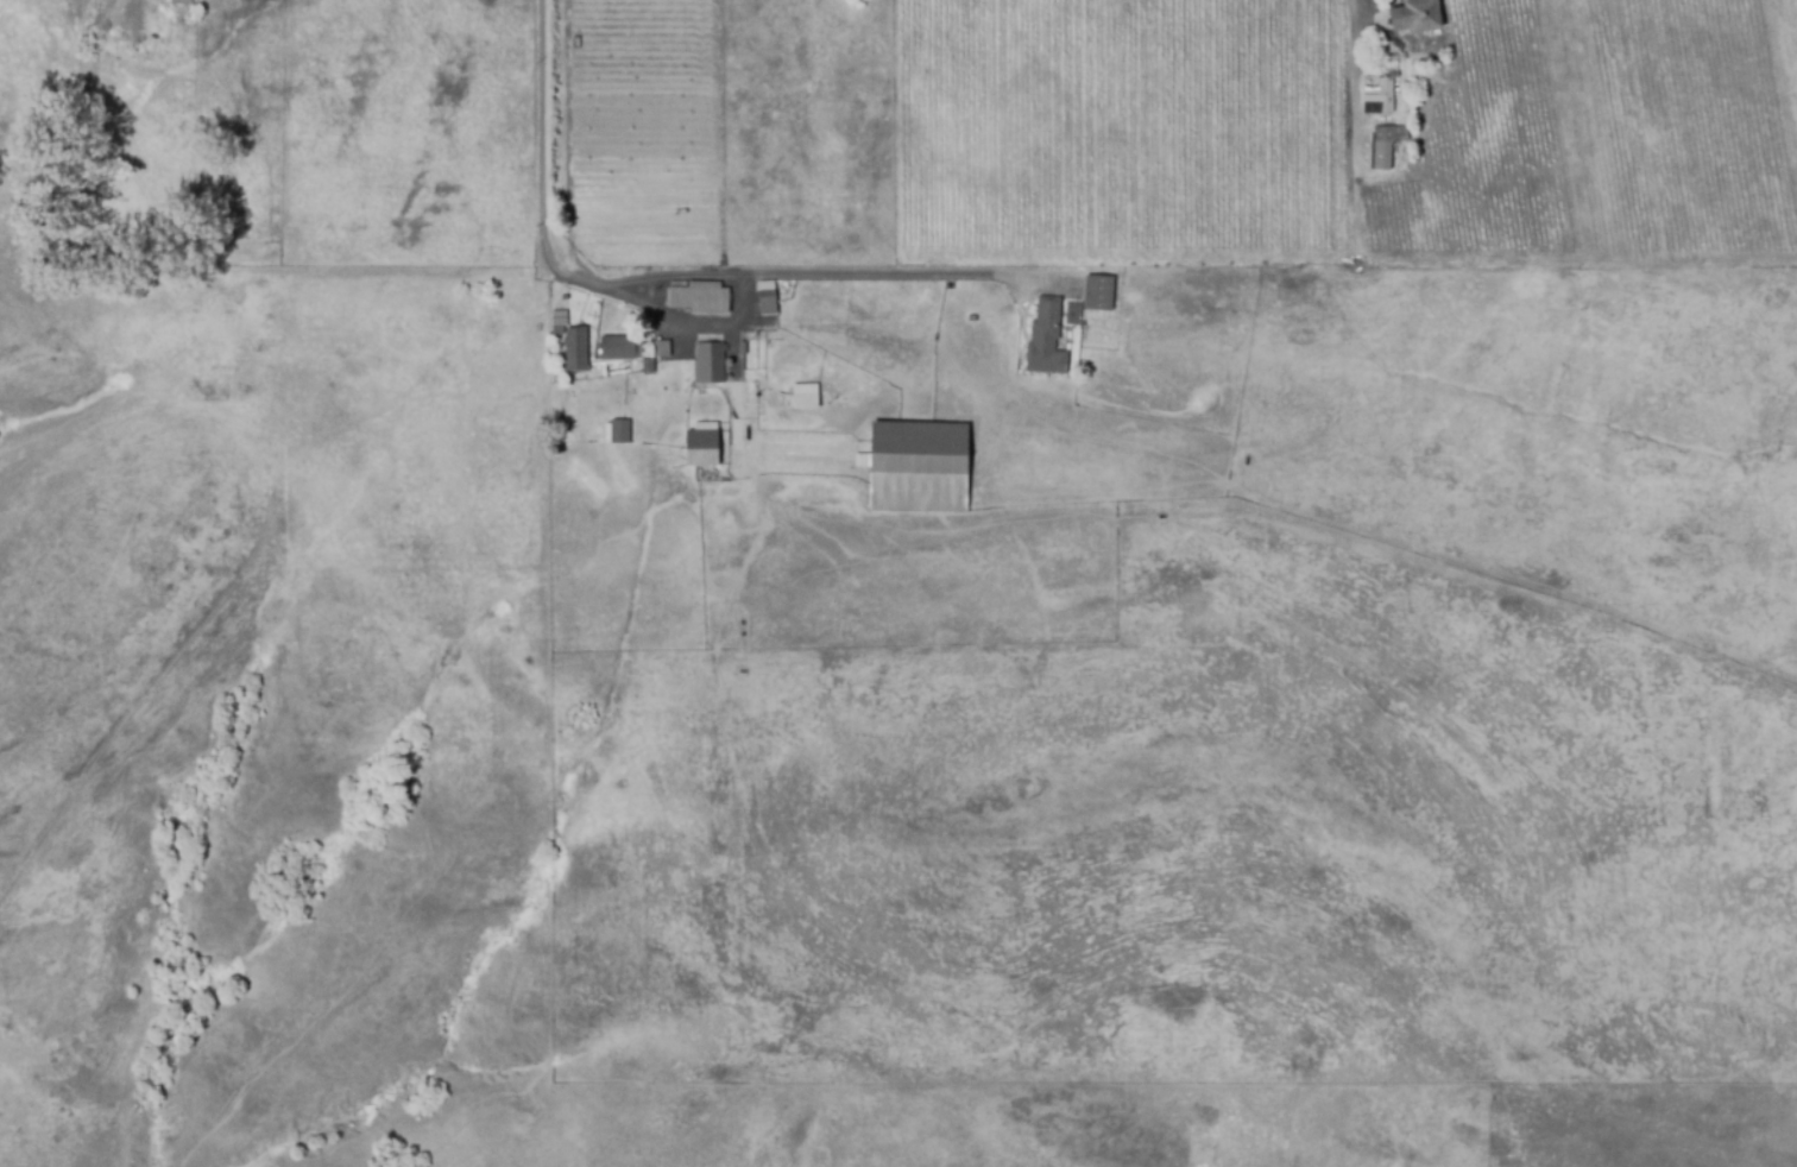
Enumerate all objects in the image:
building: (182, 6)
building: (1415, 13)
building: (1388, 64)
road: (1354, 83)
building: (1377, 96)
building: (1382, 150)
road: (543, 154)
road: (808, 275)
building: (1098, 292)
building: (768, 301)
building: (700, 302)
building: (972, 320)
building: (557, 322)
road: (695, 322)
building: (1047, 336)
building: (576, 349)
building: (630, 352)
building: (711, 362)
building: (805, 396)
building: (619, 431)
building: (701, 446)
building: (919, 466)

